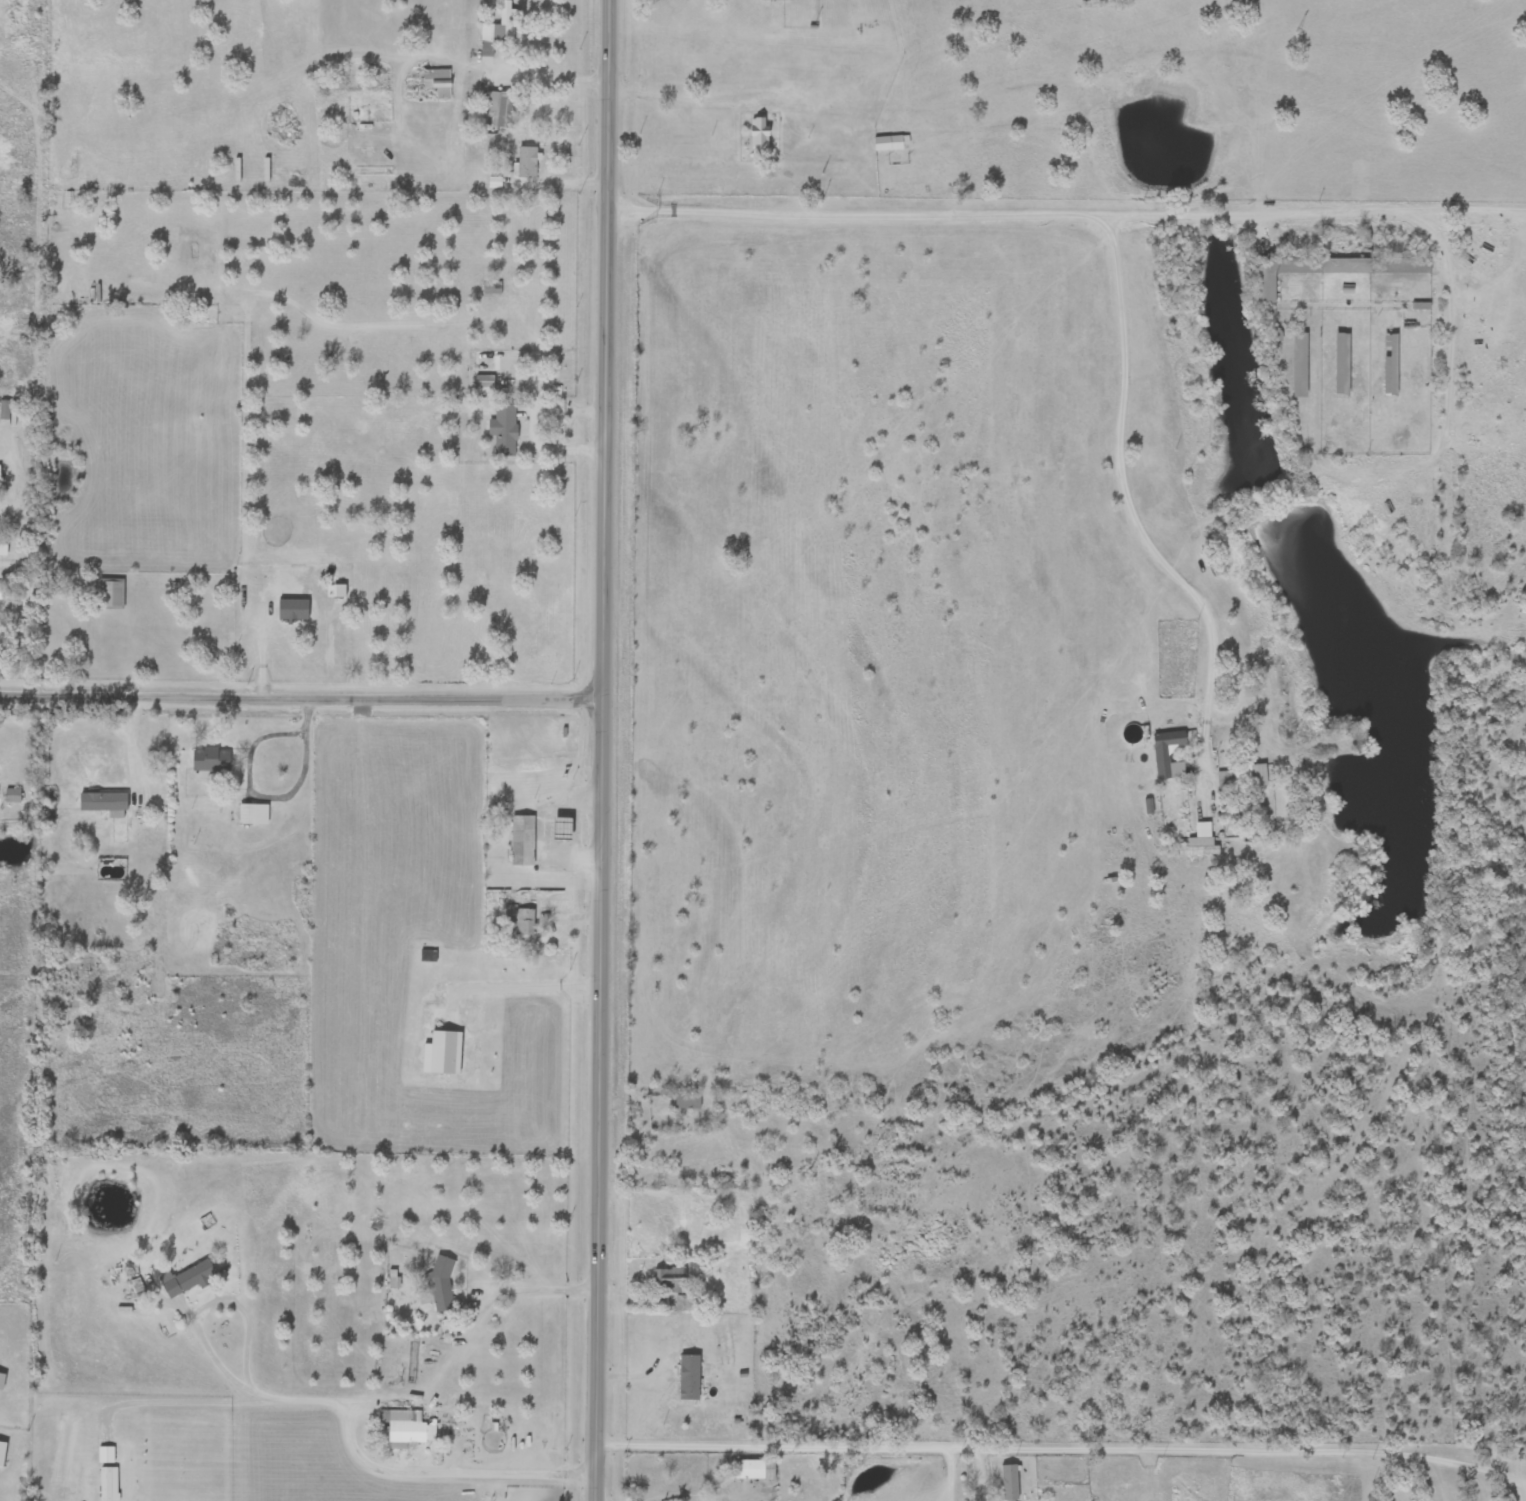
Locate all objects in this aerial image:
building: (776, 0)
building: (496, 31)
road: (545, 72)
building: (437, 81)
road: (675, 101)
building: (500, 108)
building: (759, 133)
building: (889, 144)
building: (527, 162)
road: (1017, 213)
building: (488, 288)
building: (1345, 288)
road: (1444, 354)
building: (1300, 365)
building: (1342, 365)
building: (1390, 366)
building: (484, 382)
building: (5, 410)
building: (505, 431)
road: (1135, 514)
building: (3, 546)
building: (2, 592)
building: (111, 594)
road: (40, 642)
road: (300, 696)
road: (601, 750)
building: (1168, 756)
road: (303, 757)
building: (211, 760)
building: (1242, 777)
building: (104, 803)
building: (253, 815)
building: (522, 841)
building: (1199, 841)
building: (520, 921)
building: (428, 957)
road: (525, 988)
building: (687, 1102)
building: (189, 1280)
building: (438, 1284)
building: (683, 1303)
road: (195, 1317)
road: (435, 1363)
building: (689, 1377)
building: (2, 1381)
building: (407, 1427)
road: (1064, 1442)
building: (754, 1469)
road: (979, 1471)
road: (952, 1472)
road: (441, 1477)
building: (1010, 1482)

